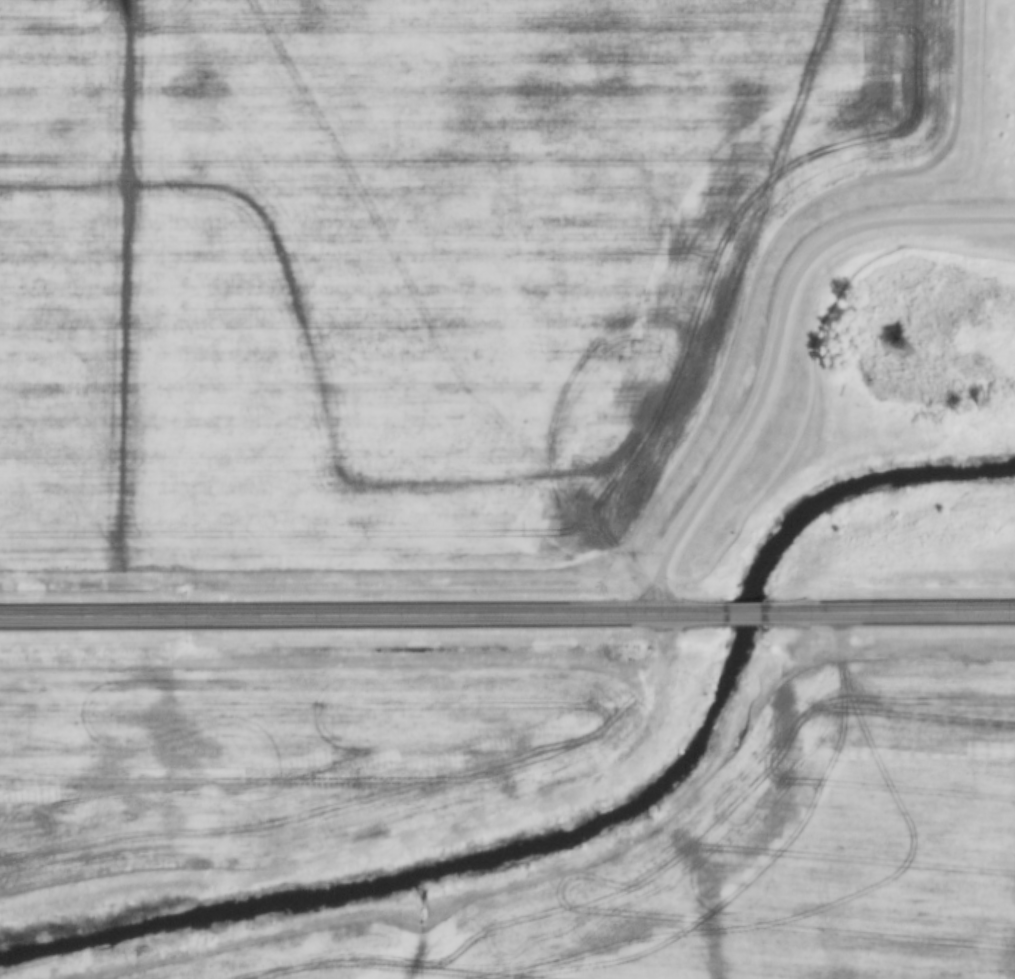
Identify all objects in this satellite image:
crop: (407, 259)
road: (775, 337)
road: (909, 610)
road: (740, 612)
road: (338, 614)
crop: (280, 758)
crop: (738, 859)

